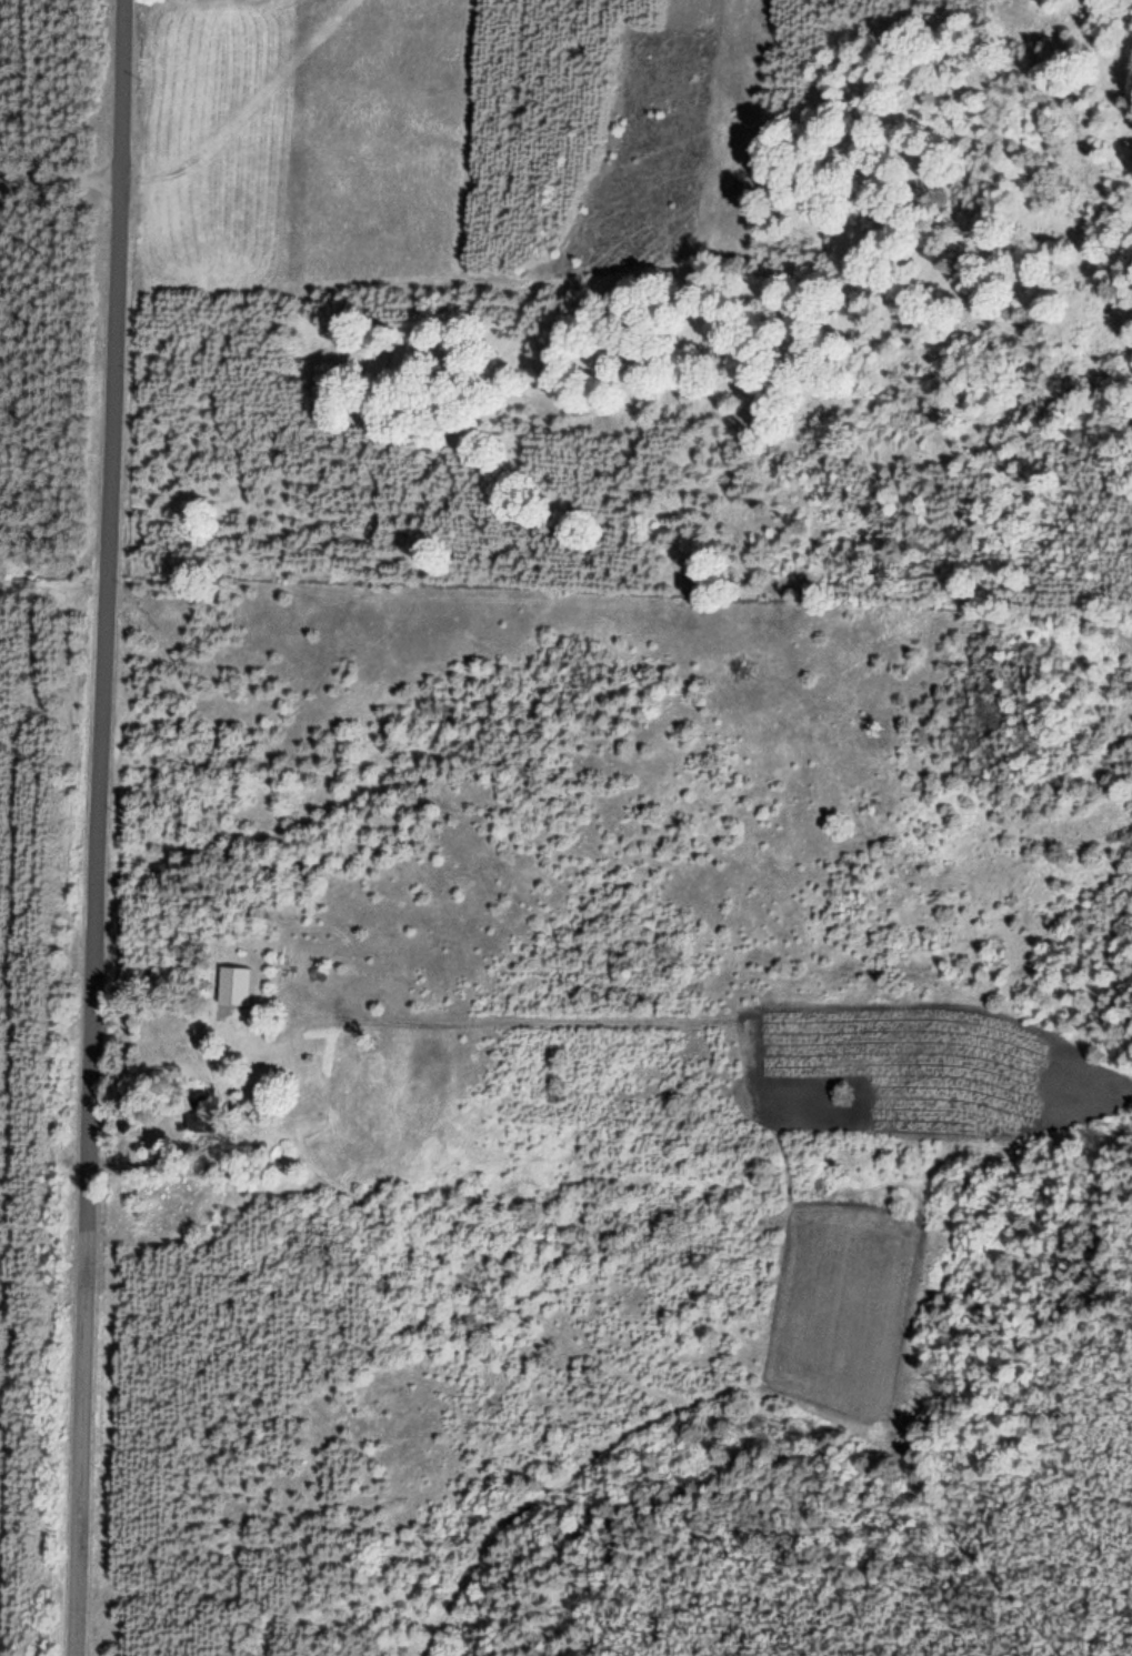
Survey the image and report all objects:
road: (250, 109)
road: (59, 182)
road: (97, 827)

